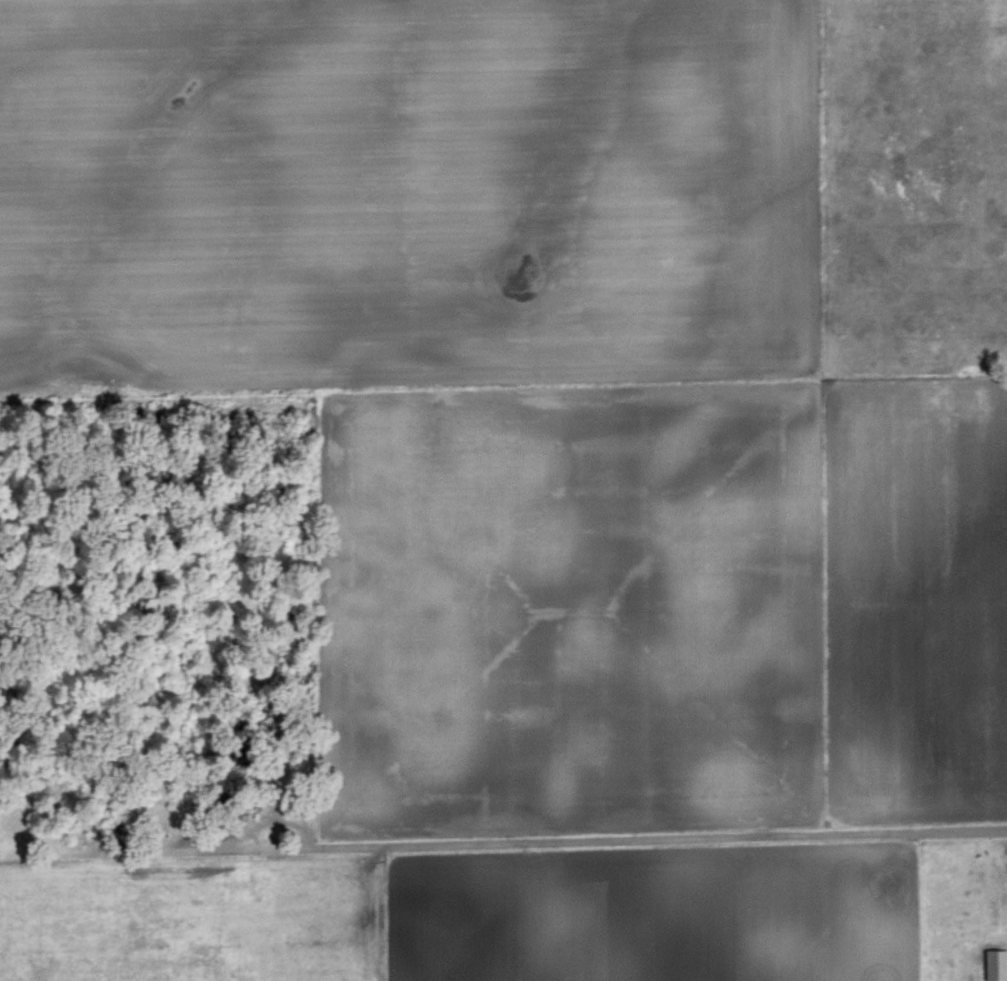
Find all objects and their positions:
building: (993, 963)

